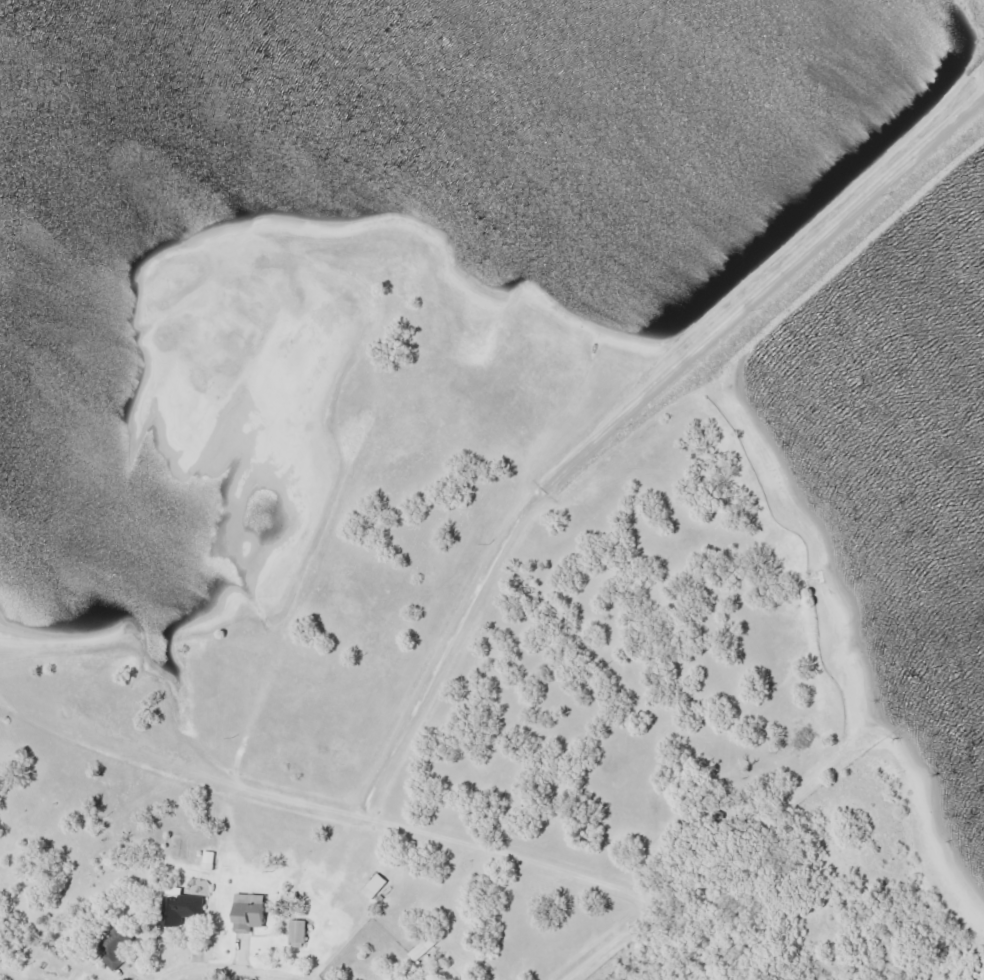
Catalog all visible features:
road: (483, 578)
building: (378, 882)
building: (183, 906)
building: (249, 913)
building: (299, 934)
building: (116, 945)
building: (423, 950)
building: (458, 955)
road: (224, 970)

